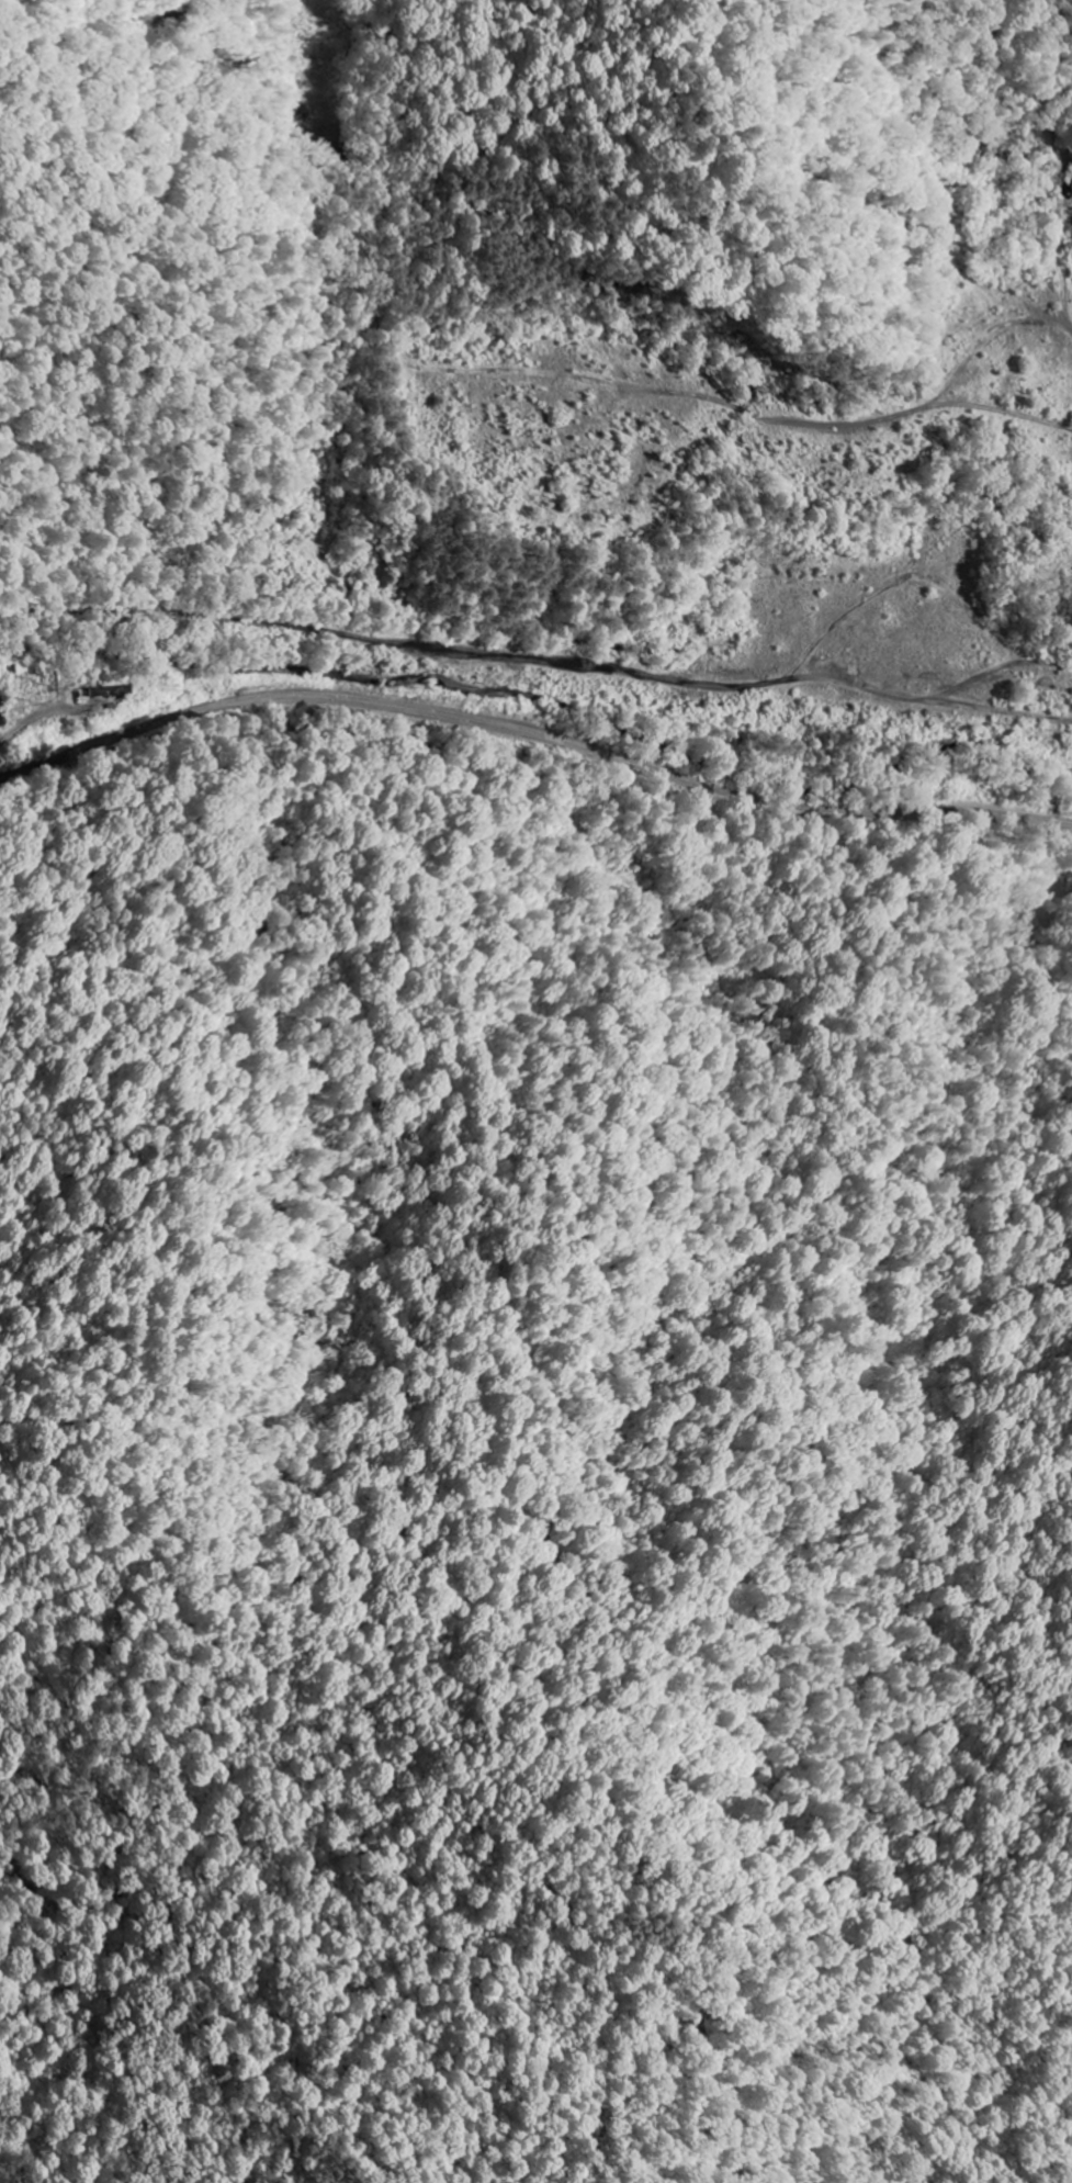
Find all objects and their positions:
road: (534, 731)

